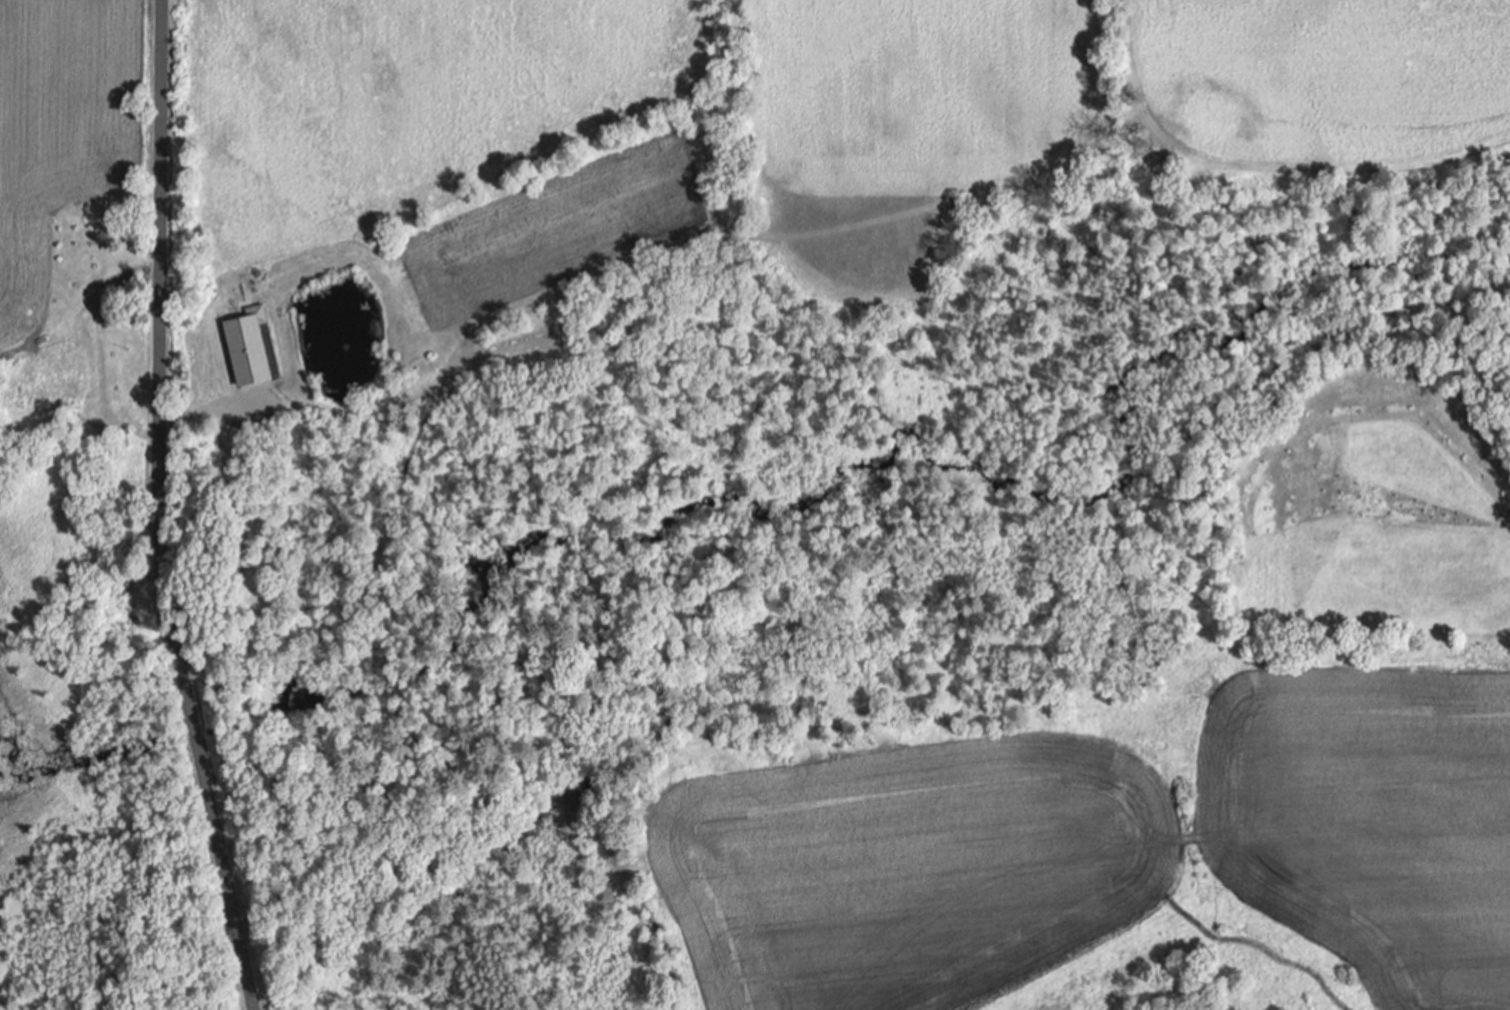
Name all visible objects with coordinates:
building: (90, 261)
road: (157, 510)

